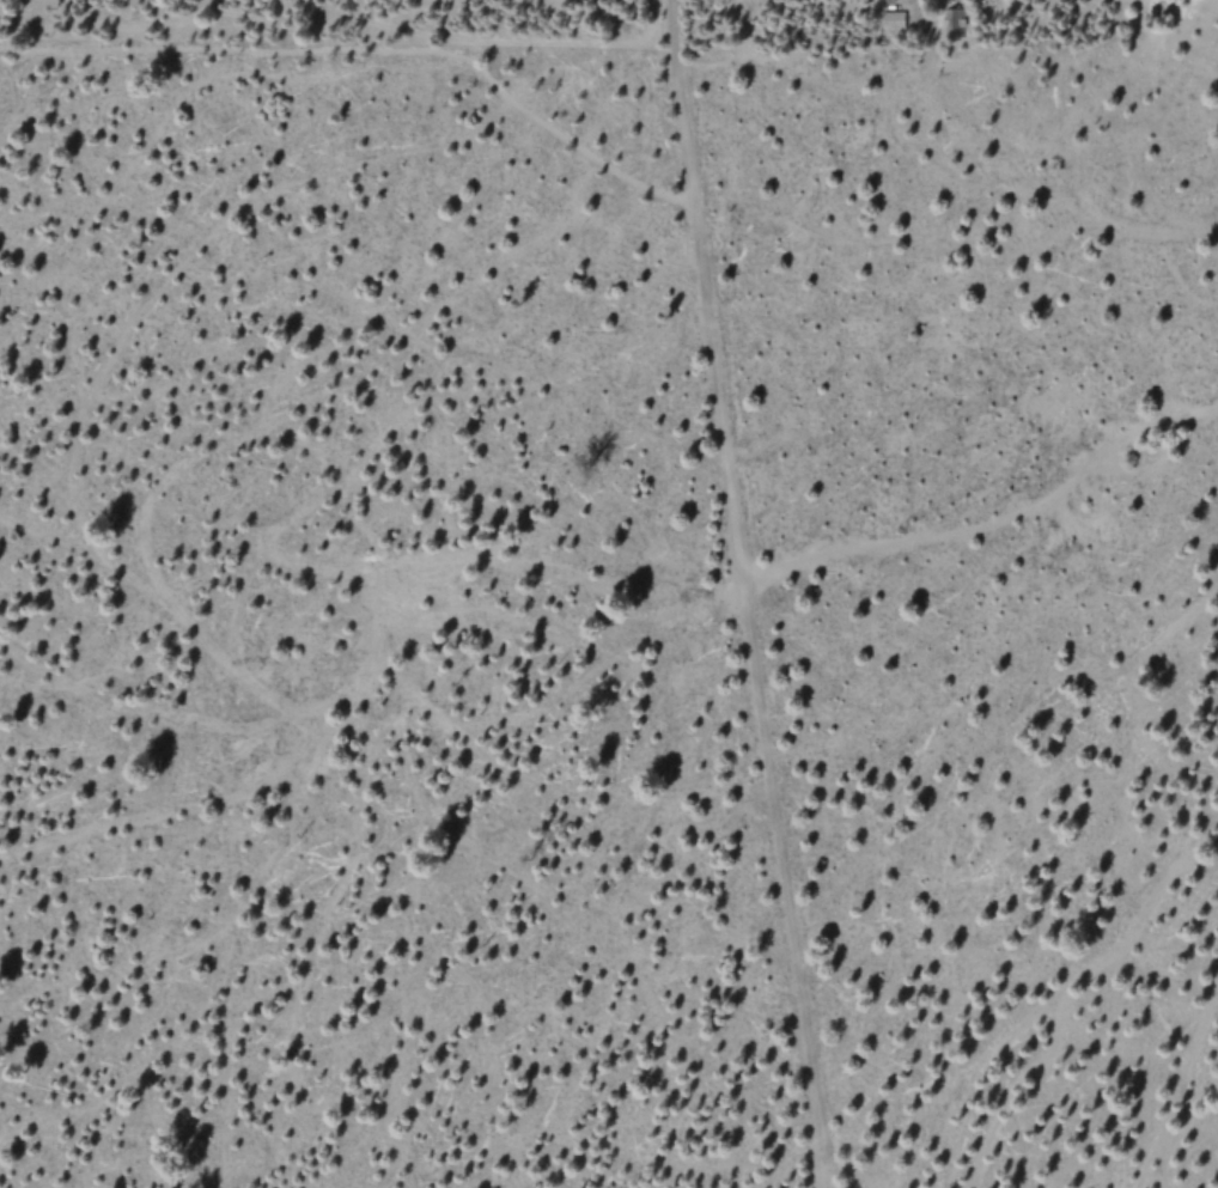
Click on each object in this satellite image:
building: (893, 20)
road: (987, 528)
road: (739, 595)

